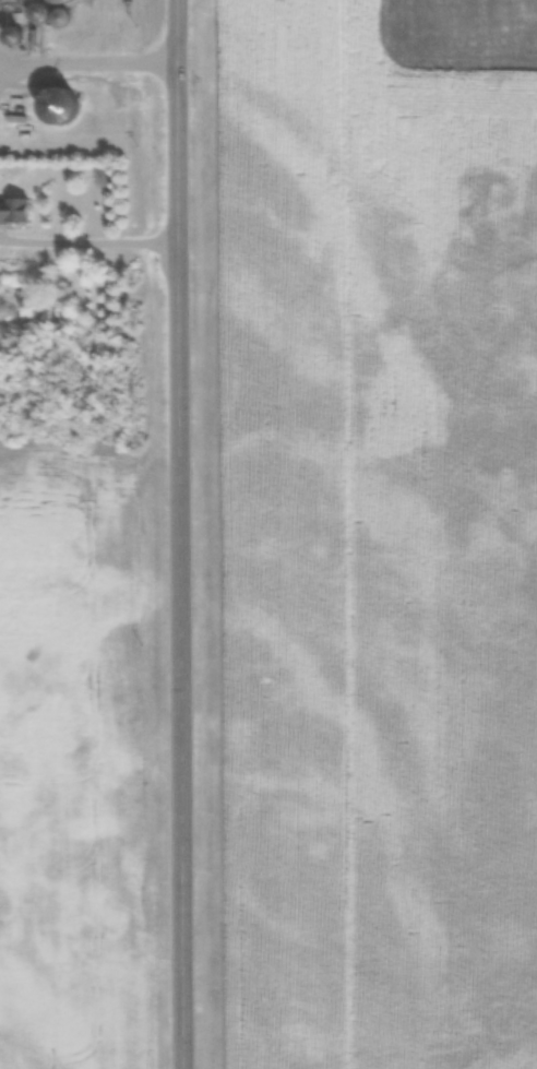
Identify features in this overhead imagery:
building: (24, 0)
building: (65, 3)
building: (60, 19)
road: (88, 63)
building: (63, 104)
building: (15, 212)
road: (89, 241)
road: (181, 534)

